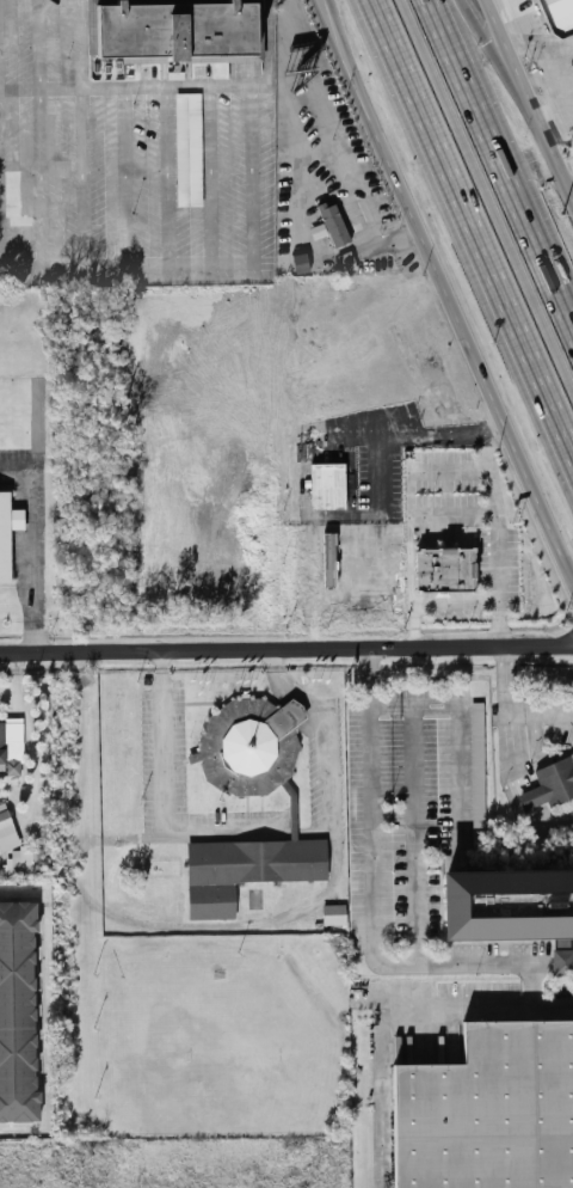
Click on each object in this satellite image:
building: (559, 16)
building: (171, 33)
road: (270, 47)
road: (499, 61)
road: (125, 87)
road: (526, 97)
road: (370, 108)
road: (42, 134)
building: (190, 149)
road: (501, 158)
road: (254, 174)
road: (571, 184)
road: (488, 189)
building: (339, 221)
road: (472, 226)
building: (351, 258)
building: (302, 263)
road: (128, 267)
road: (446, 284)
road: (381, 440)
building: (333, 483)
road: (494, 503)
building: (7, 539)
road: (35, 558)
building: (331, 559)
building: (450, 567)
road: (456, 606)
road: (315, 610)
road: (286, 650)
road: (511, 670)
road: (542, 706)
road: (464, 727)
road: (544, 745)
building: (479, 776)
road: (525, 778)
building: (557, 780)
road: (162, 796)
building: (532, 798)
building: (294, 819)
building: (6, 822)
road: (413, 834)
building: (25, 864)
building: (505, 904)
road: (372, 911)
building: (334, 916)
road: (270, 921)
road: (554, 960)
building: (562, 962)
road: (405, 1009)
building: (19, 1015)
building: (489, 1110)
road: (382, 1172)

